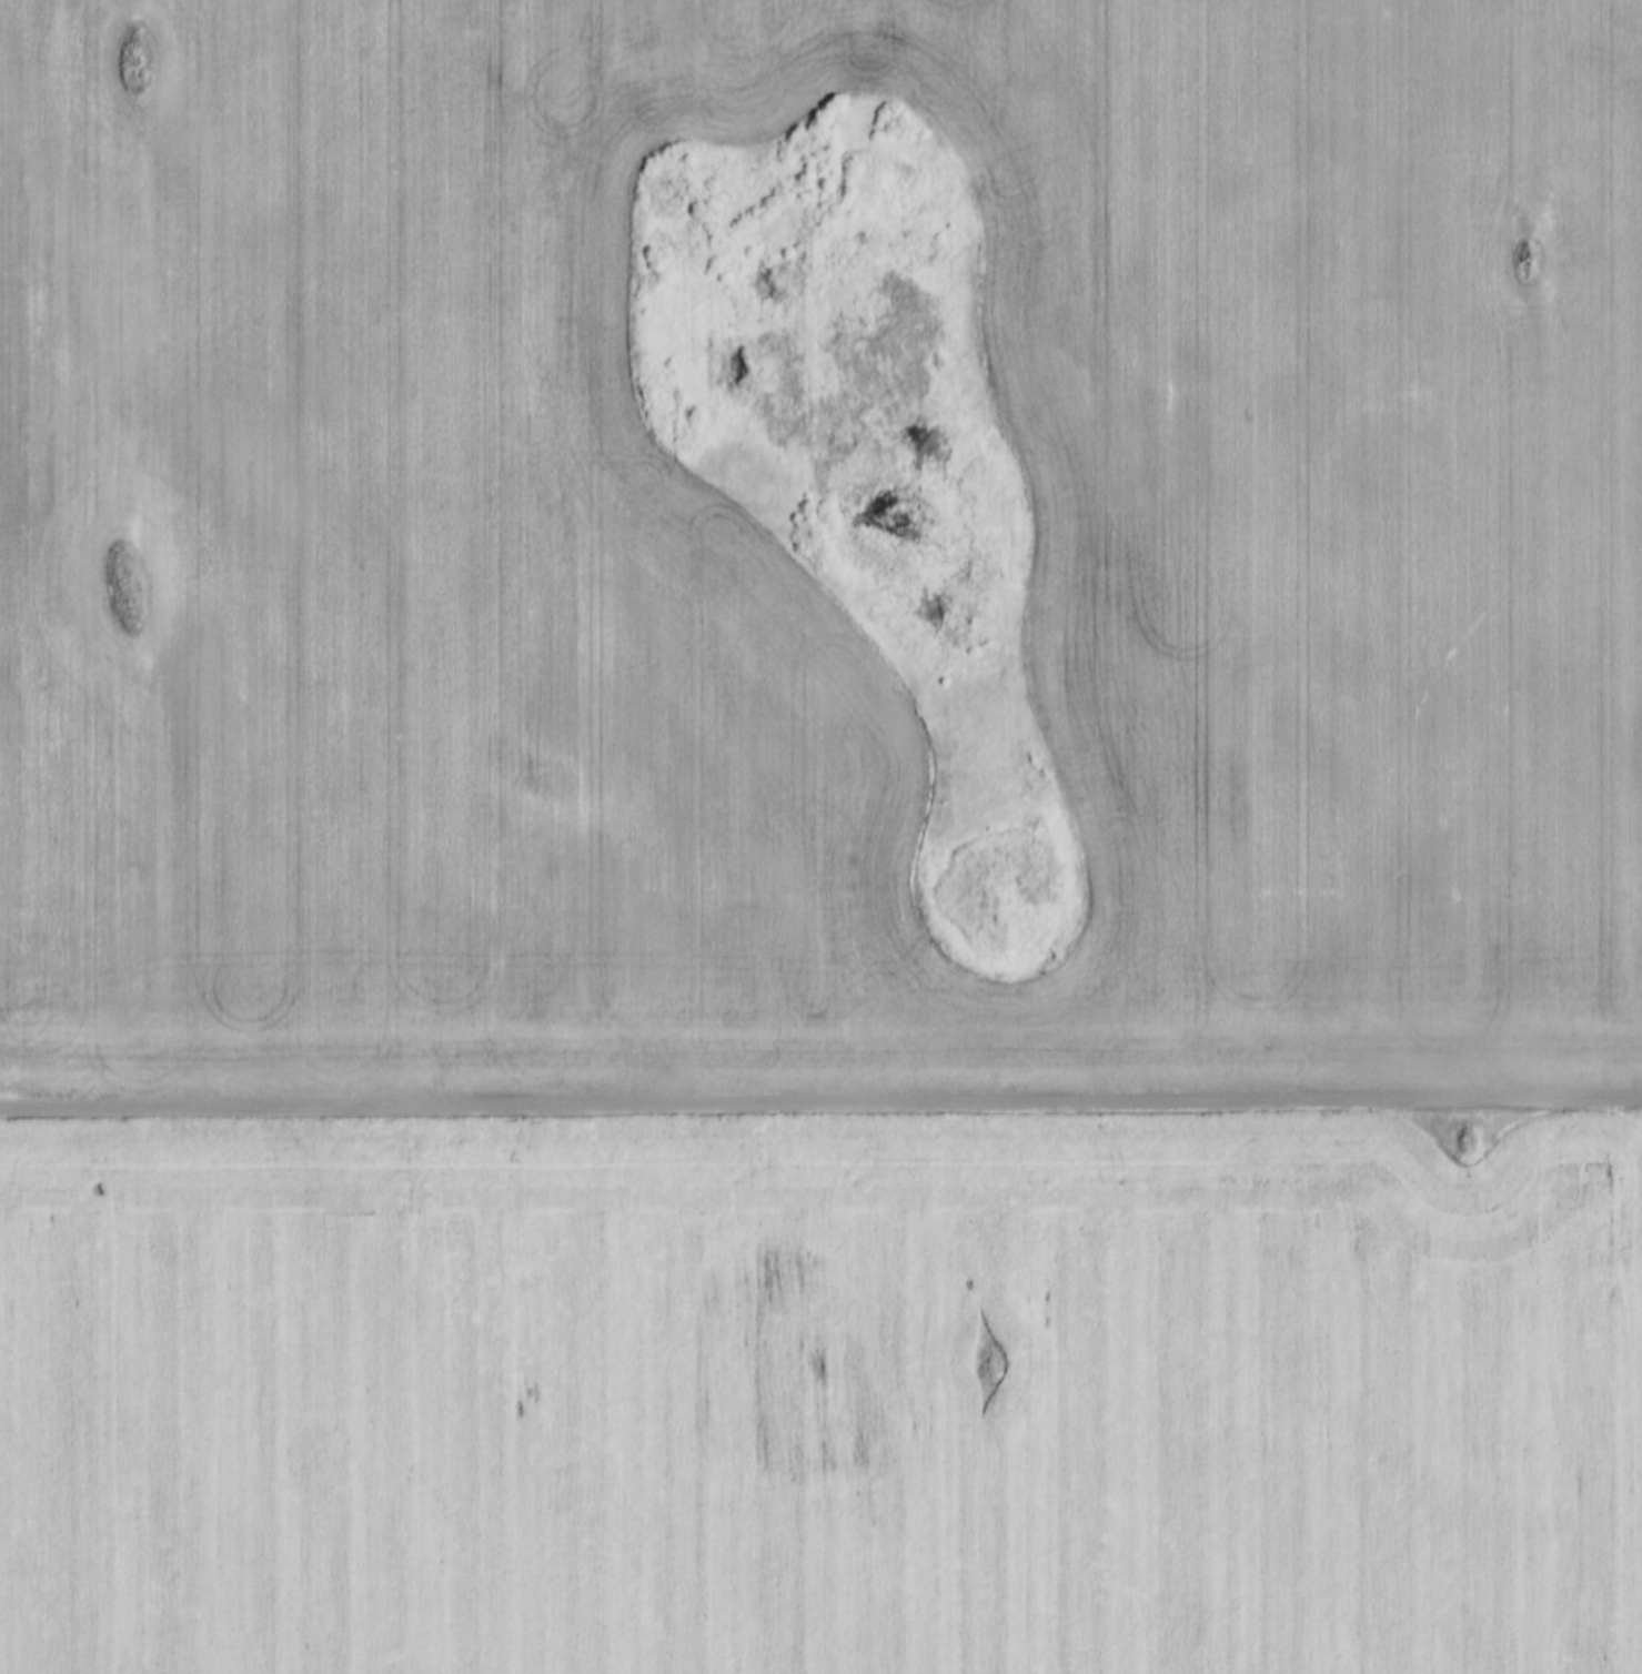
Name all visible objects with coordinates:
road: (820, 1100)

